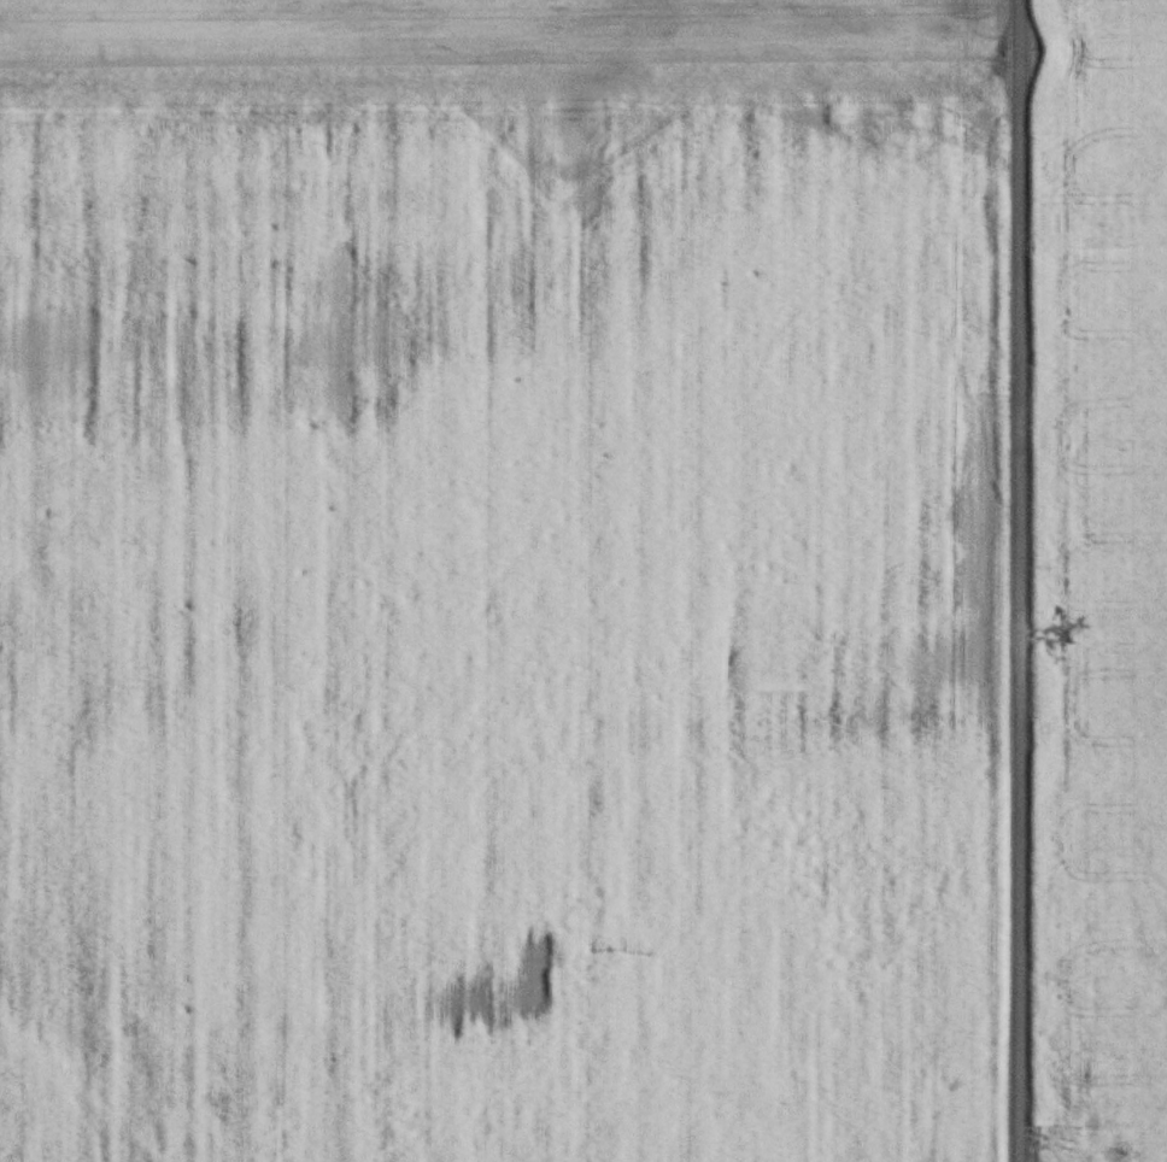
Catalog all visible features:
road: (1010, 581)

